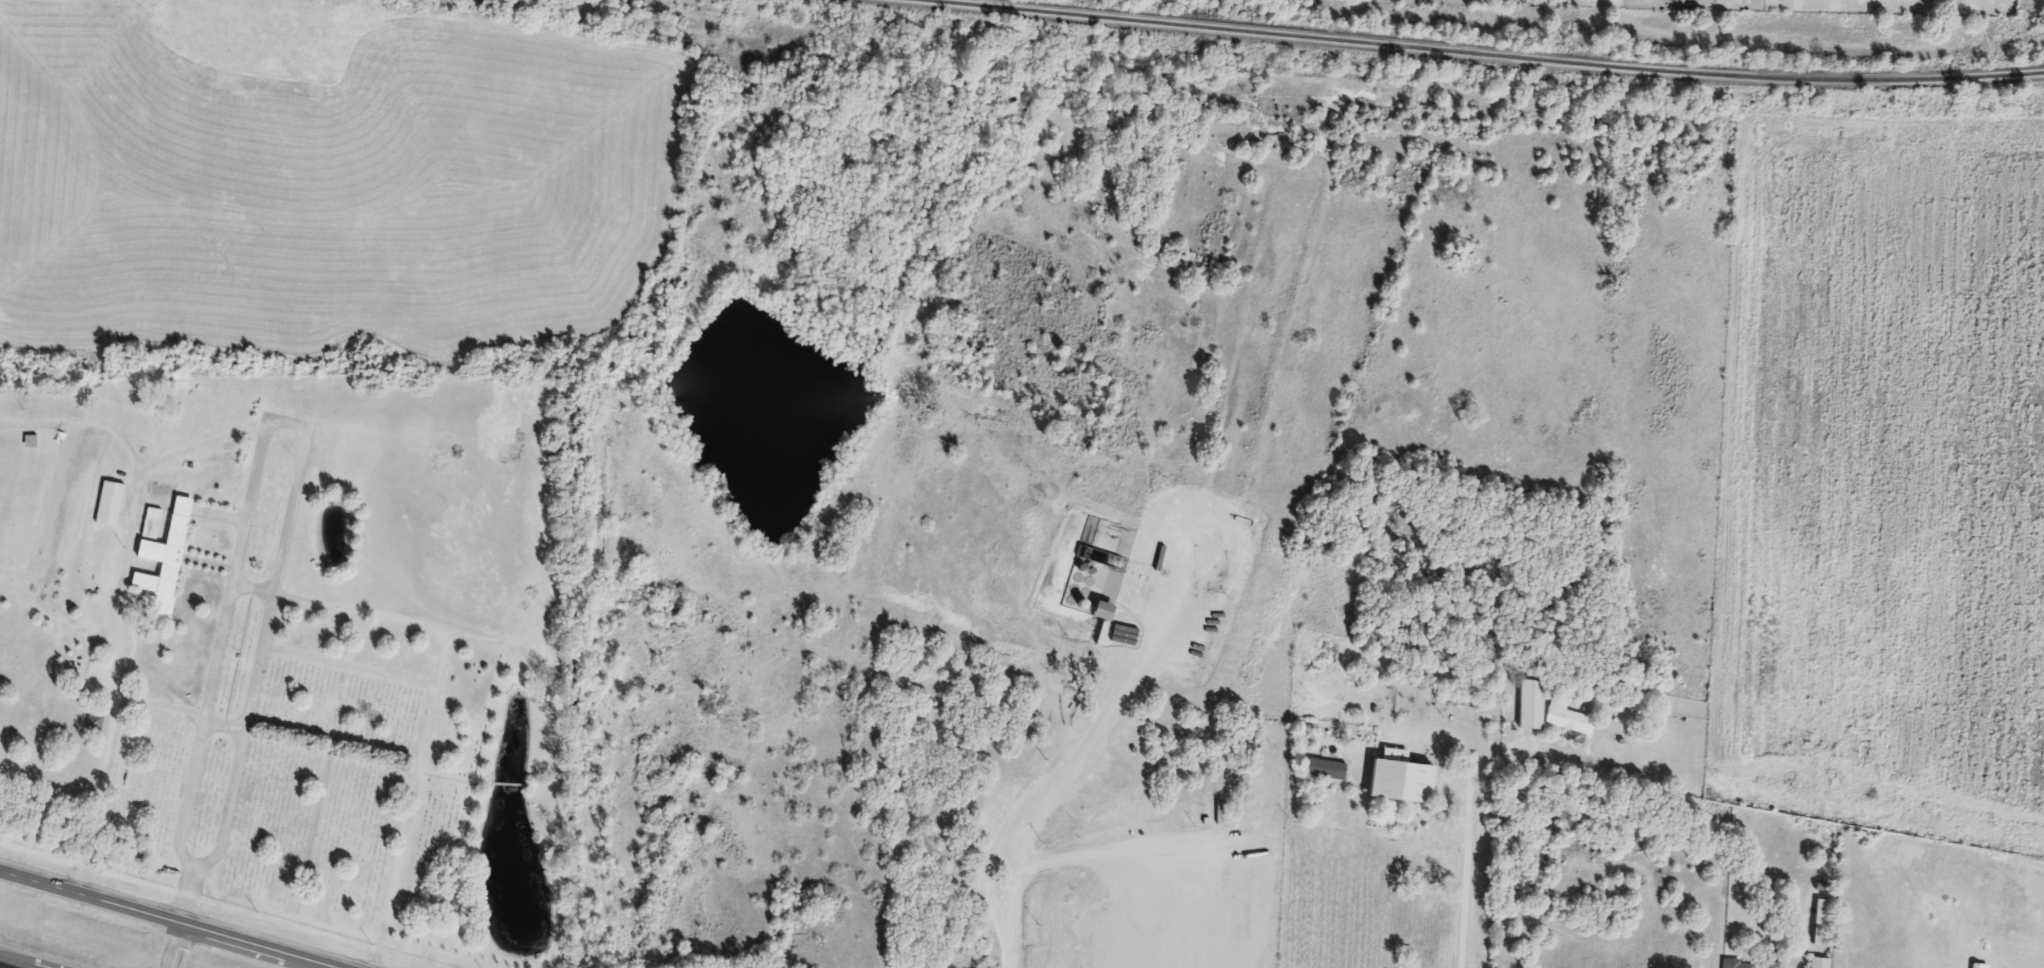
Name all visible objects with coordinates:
railway: (1475, 53)
road: (80, 422)
road: (284, 422)
building: (33, 442)
building: (111, 504)
building: (1242, 547)
building: (167, 557)
building: (1100, 611)
road: (120, 616)
road: (56, 624)
park: (301, 640)
road: (529, 661)
road: (350, 667)
road: (161, 705)
building: (1530, 706)
building: (1566, 719)
building: (95, 723)
road: (224, 726)
building: (1323, 770)
building: (1398, 782)
road: (412, 800)
road: (1043, 815)
road: (1468, 835)
road: (189, 894)
road: (166, 920)
building: (1819, 922)
road: (177, 946)
building: (1817, 963)

